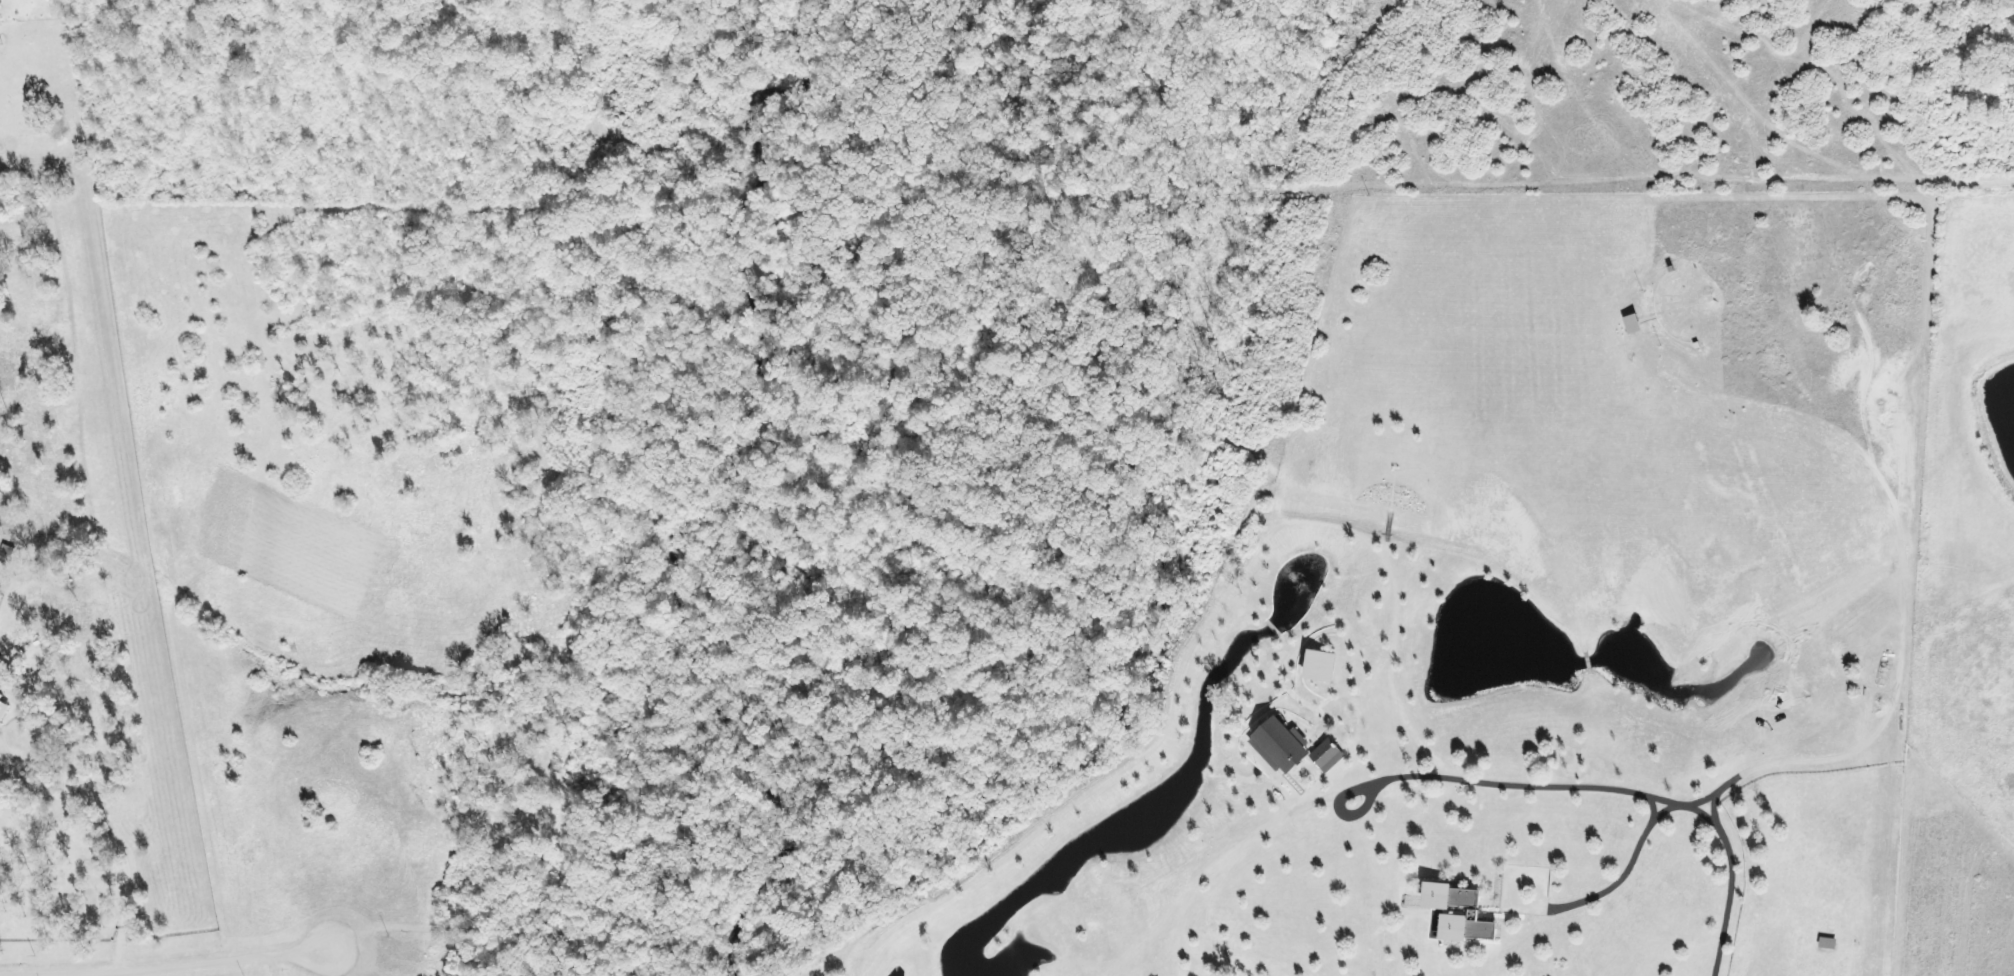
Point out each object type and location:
building: (1317, 666)
building: (0, 697)
building: (3, 710)
building: (1278, 745)
building: (1326, 756)
road: (1590, 786)
road: (1658, 814)
road: (81, 819)
road: (1565, 905)
building: (1470, 911)
road: (196, 965)
road: (10, 975)

